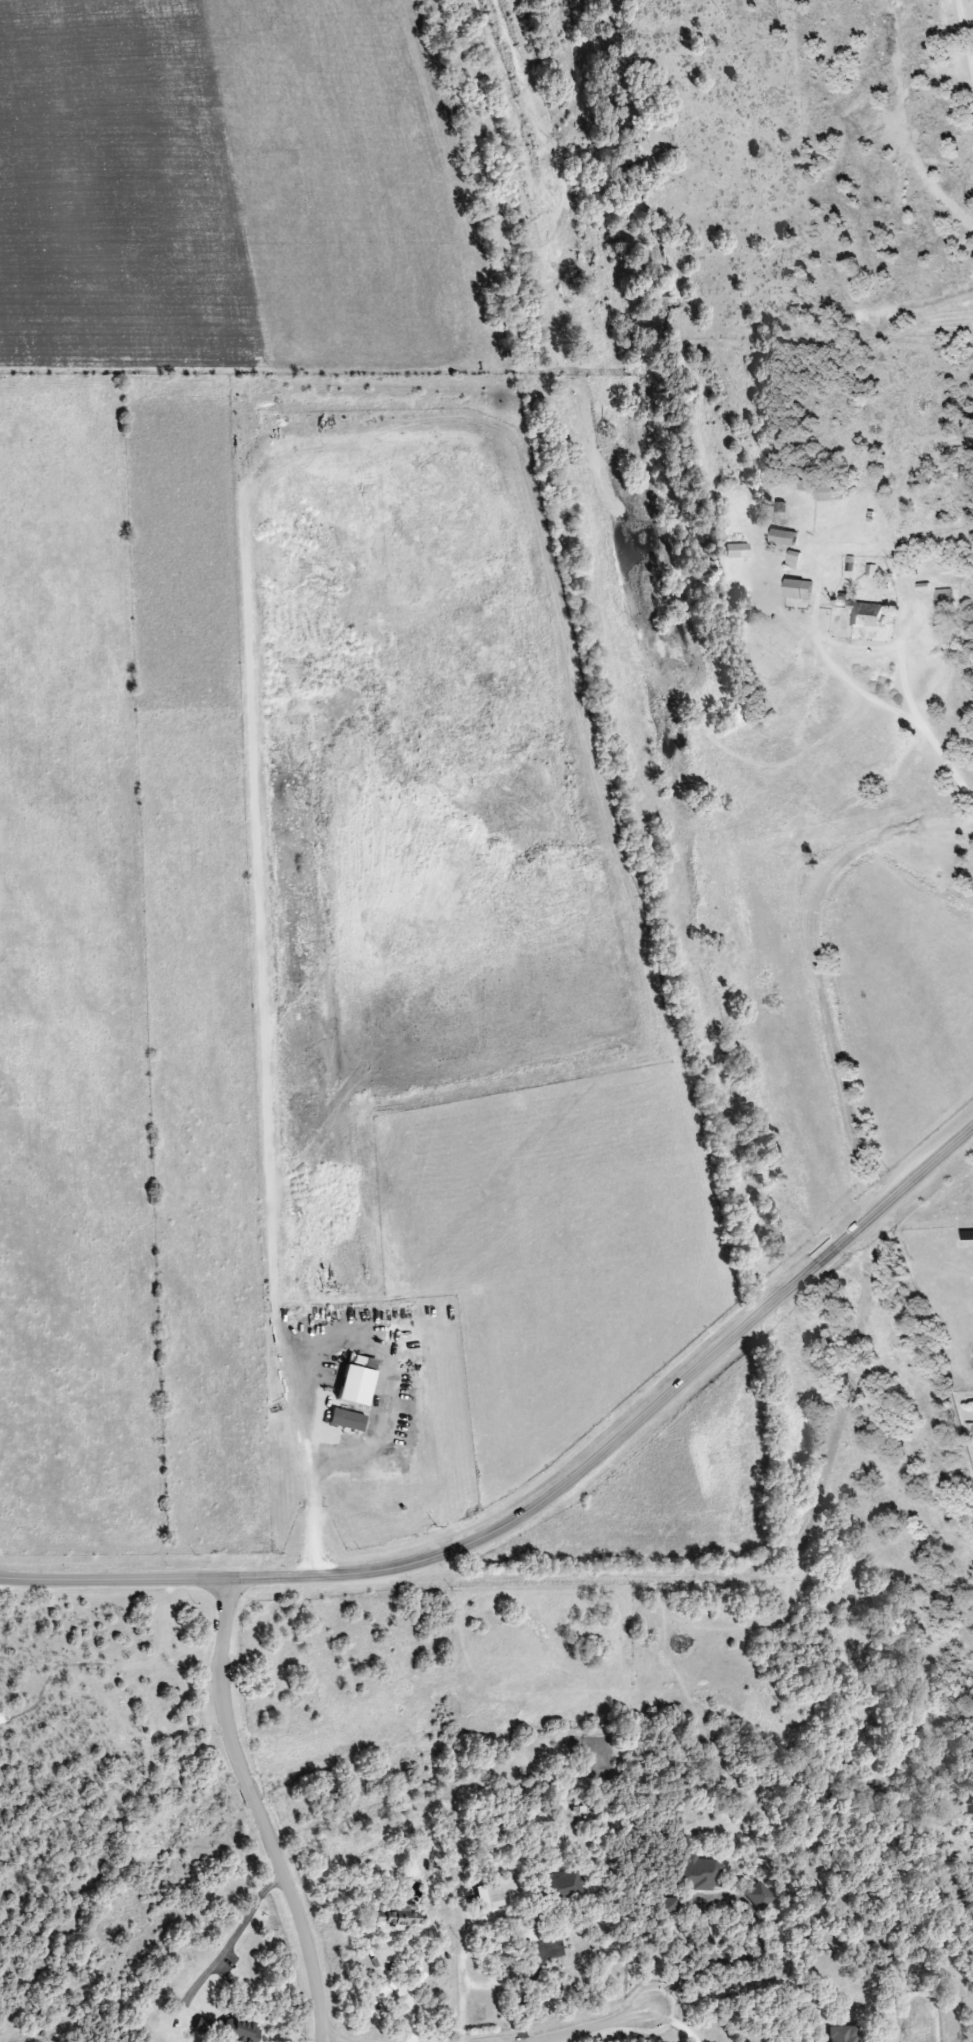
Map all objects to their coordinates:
road: (963, 43)
building: (823, 489)
building: (783, 537)
building: (735, 551)
building: (793, 560)
building: (797, 589)
building: (866, 615)
road: (898, 713)
road: (260, 957)
road: (904, 1187)
road: (829, 1255)
road: (311, 1349)
building: (355, 1384)
building: (345, 1421)
road: (459, 1550)
road: (258, 1813)
building: (698, 1874)
building: (562, 1884)
building: (488, 1897)
building: (757, 1897)
building: (668, 1905)
building: (399, 1919)
road: (702, 1969)
road: (508, 1996)
road: (461, 1997)
road: (591, 2024)
road: (675, 2024)
building: (237, 2032)
building: (842, 2034)

